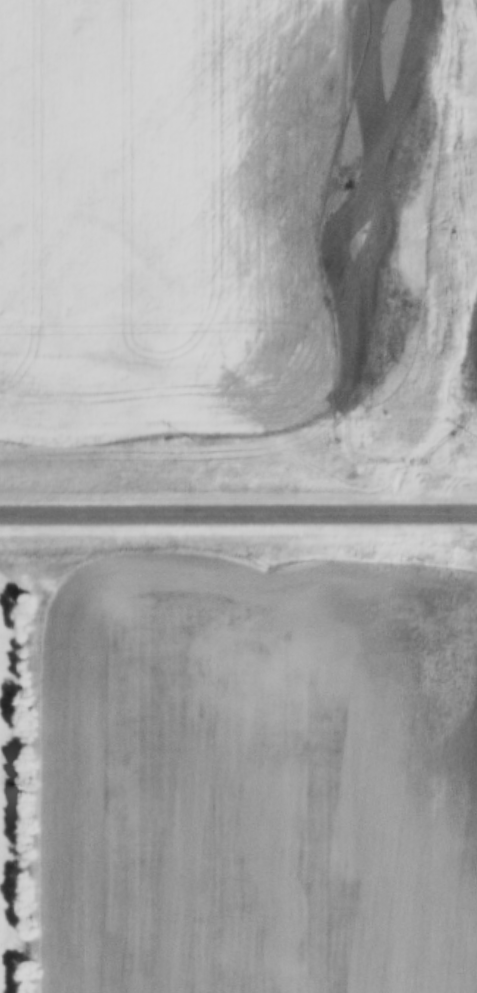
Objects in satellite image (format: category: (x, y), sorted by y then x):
road: (238, 514)

